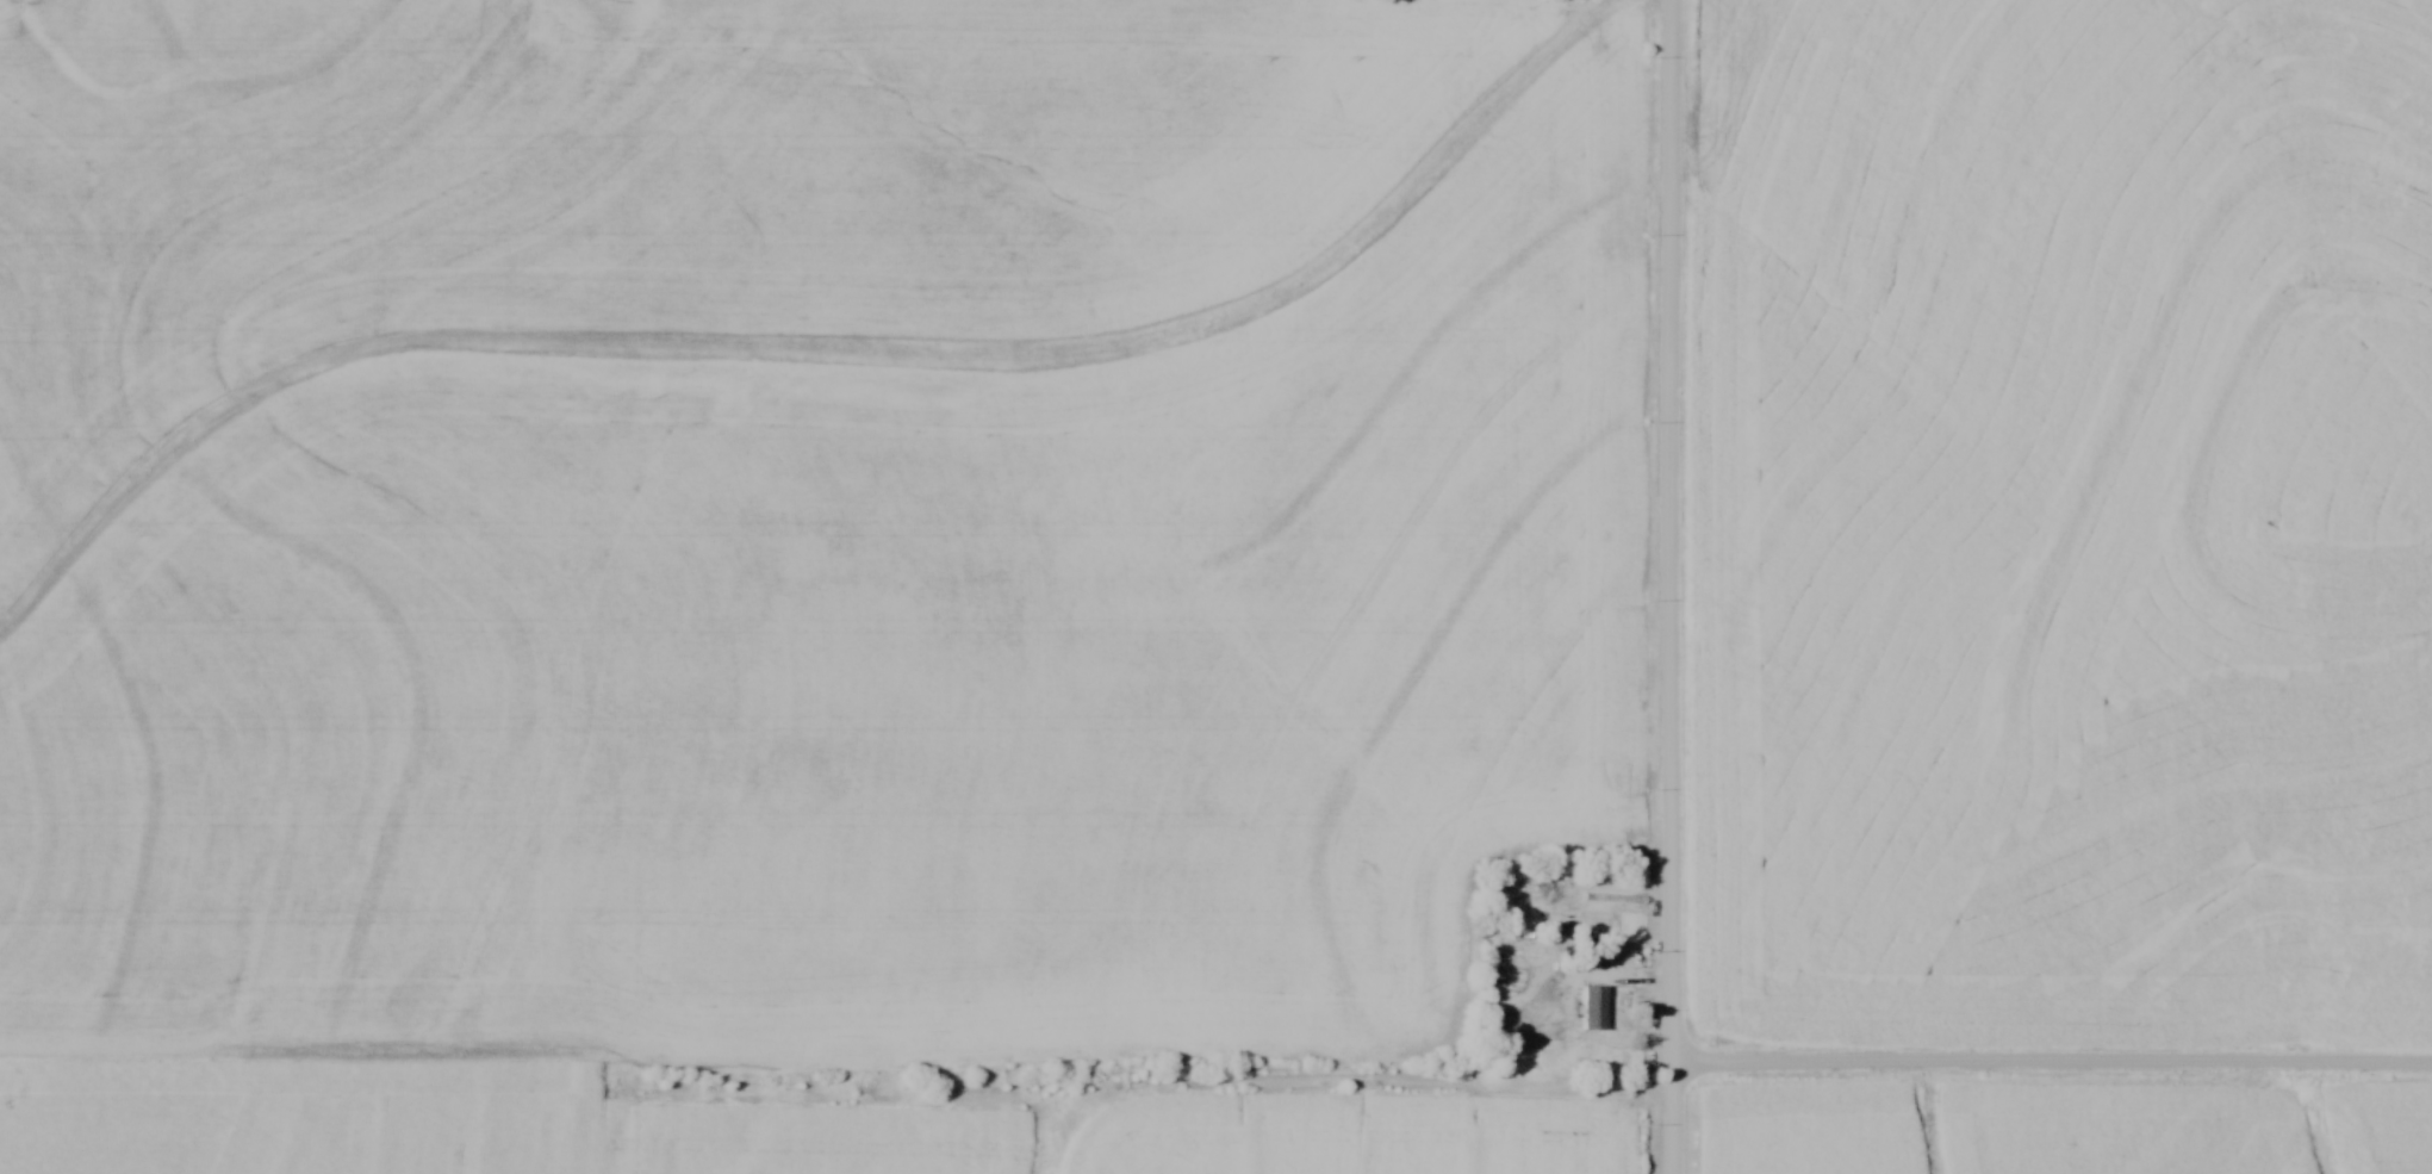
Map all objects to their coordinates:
road: (1671, 532)
road: (1524, 962)
building: (1596, 1008)
road: (2051, 1063)
road: (1672, 1119)

